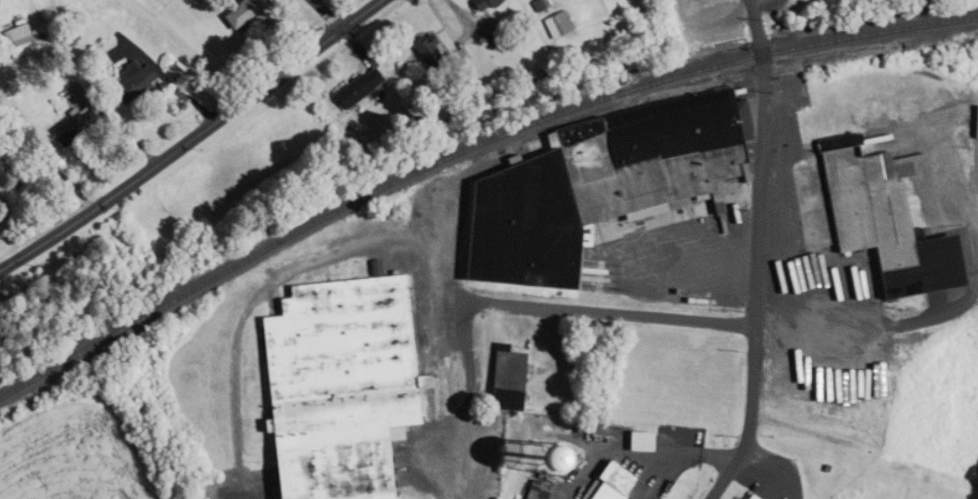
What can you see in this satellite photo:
building: (473, 4)
road: (329, 13)
building: (550, 22)
building: (29, 38)
building: (418, 49)
building: (148, 80)
building: (349, 86)
building: (85, 124)
road: (192, 138)
railway: (467, 147)
building: (591, 183)
road: (960, 192)
building: (877, 219)
road: (360, 243)
road: (757, 254)
road: (611, 310)
road: (873, 330)
building: (501, 379)
building: (332, 385)
building: (634, 440)
water tower: (543, 468)
building: (604, 482)
building: (532, 490)
building: (745, 496)

